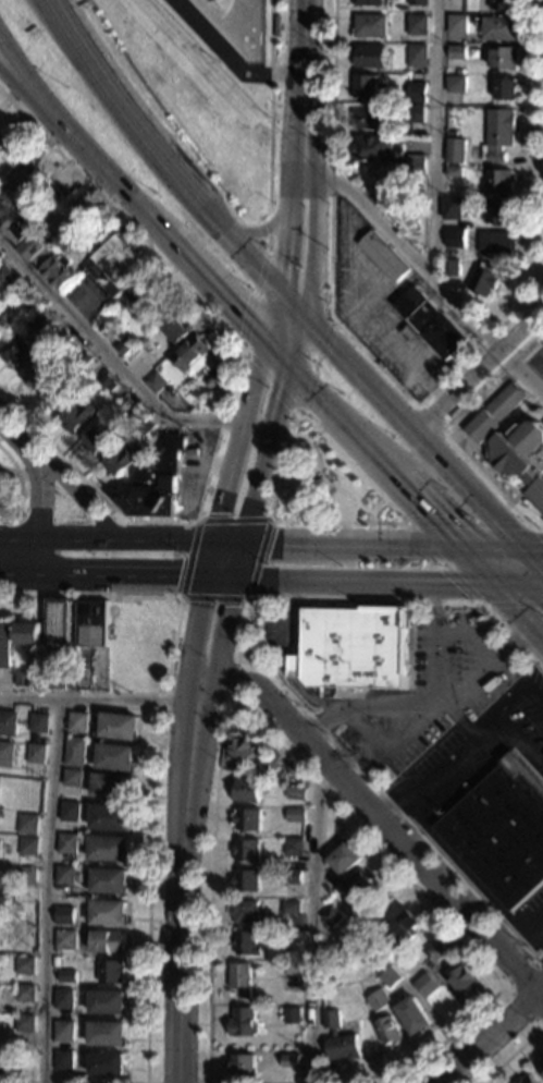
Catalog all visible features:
building: (418, 2)
building: (372, 3)
building: (503, 4)
building: (457, 24)
building: (417, 25)
building: (370, 26)
building: (498, 28)
building: (457, 52)
building: (417, 56)
building: (370, 57)
road: (229, 58)
building: (503, 58)
road: (304, 64)
road: (21, 72)
building: (458, 72)
building: (455, 84)
road: (21, 86)
building: (366, 86)
building: (506, 89)
building: (417, 92)
road: (270, 111)
building: (415, 113)
building: (371, 118)
building: (452, 131)
building: (499, 132)
road: (436, 138)
road: (77, 144)
building: (0, 148)
road: (157, 149)
building: (375, 149)
building: (456, 150)
road: (297, 163)
building: (417, 163)
building: (454, 172)
building: (498, 181)
road: (128, 195)
building: (2, 209)
building: (454, 209)
building: (501, 210)
building: (57, 222)
road: (157, 224)
building: (16, 230)
road: (262, 233)
road: (267, 235)
building: (455, 238)
building: (497, 243)
road: (284, 244)
building: (77, 246)
building: (37, 248)
road: (313, 248)
road: (268, 252)
building: (0, 253)
traffic signals: (283, 254)
building: (383, 255)
building: (452, 268)
road: (427, 269)
building: (58, 271)
building: (125, 271)
building: (5, 272)
building: (484, 280)
road: (219, 290)
building: (33, 305)
road: (292, 305)
traffic signals: (242, 313)
road: (273, 315)
building: (23, 316)
building: (44, 320)
building: (5, 323)
building: (432, 323)
building: (176, 326)
building: (63, 338)
building: (124, 345)
traffic signals: (331, 346)
building: (16, 350)
road: (280, 353)
building: (192, 354)
building: (82, 361)
road: (119, 369)
road: (533, 370)
building: (36, 372)
road: (484, 374)
building: (156, 381)
building: (104, 382)
building: (210, 384)
road: (232, 385)
building: (54, 394)
road: (317, 394)
road: (282, 399)
road: (421, 401)
building: (124, 404)
traffic signals: (281, 404)
building: (496, 412)
building: (77, 416)
road: (432, 419)
building: (146, 425)
road: (410, 429)
road: (23, 436)
road: (449, 436)
building: (98, 438)
road: (365, 446)
road: (286, 458)
building: (522, 458)
road: (236, 459)
building: (119, 460)
road: (20, 474)
building: (156, 484)
road: (257, 486)
road: (21, 487)
road: (82, 499)
road: (421, 506)
road: (71, 518)
road: (106, 519)
road: (37, 520)
road: (417, 533)
road: (55, 538)
road: (121, 538)
traffic signals: (215, 540)
traffic signals: (243, 540)
road: (348, 541)
traffic signals: (455, 544)
road: (498, 544)
traffic signals: (514, 545)
road: (238, 560)
road: (528, 561)
road: (474, 567)
road: (17, 579)
road: (121, 579)
traffic signals: (207, 580)
road: (220, 580)
traffic signals: (234, 580)
road: (363, 584)
traffic signals: (494, 589)
road: (518, 589)
road: (250, 597)
road: (437, 608)
road: (518, 614)
building: (58, 622)
building: (90, 622)
road: (198, 628)
road: (222, 631)
building: (28, 633)
building: (5, 645)
road: (515, 645)
building: (356, 647)
road: (296, 659)
road: (495, 660)
building: (295, 666)
road: (263, 667)
road: (439, 669)
building: (23, 676)
road: (233, 678)
building: (54, 680)
road: (97, 699)
road: (533, 701)
road: (510, 704)
road: (394, 709)
building: (8, 722)
building: (38, 722)
building: (76, 722)
building: (118, 726)
road: (472, 738)
road: (377, 743)
road: (520, 743)
building: (244, 751)
building: (74, 752)
building: (35, 753)
building: (5, 754)
building: (115, 757)
building: (267, 767)
building: (72, 778)
road: (432, 783)
building: (112, 786)
building: (247, 791)
building: (296, 793)
building: (70, 811)
building: (294, 815)
building: (110, 817)
building: (248, 819)
road: (382, 819)
road: (151, 820)
building: (27, 824)
building: (502, 831)
building: (66, 843)
building: (0, 844)
building: (330, 844)
building: (27, 845)
building: (293, 847)
building: (109, 849)
building: (246, 851)
building: (344, 860)
building: (64, 875)
building: (26, 876)
building: (293, 877)
road: (183, 879)
building: (109, 881)
building: (246, 881)
building: (358, 886)
road: (45, 890)
building: (291, 908)
building: (245, 911)
building: (108, 912)
building: (64, 915)
building: (331, 917)
road: (312, 921)
road: (532, 924)
building: (402, 930)
building: (291, 938)
building: (65, 939)
building: (108, 941)
building: (246, 944)
building: (436, 953)
building: (24, 965)
building: (292, 969)
building: (111, 971)
building: (411, 974)
building: (66, 976)
building: (388, 978)
building: (240, 979)
building: (464, 979)
building: (423, 985)
road: (503, 987)
building: (24, 994)
building: (63, 998)
building: (107, 1001)
building: (378, 1001)
building: (292, 1017)
building: (414, 1017)
building: (24, 1023)
building: (244, 1023)
building: (63, 1031)
building: (388, 1032)
road: (493, 1032)
building: (107, 1034)
building: (338, 1039)
road: (514, 1051)
building: (289, 1061)
building: (2, 1063)
building: (107, 1063)
building: (62, 1064)
building: (243, 1066)
building: (540, 1066)
road: (375, 1073)
building: (526, 1080)
road: (175, 1082)

